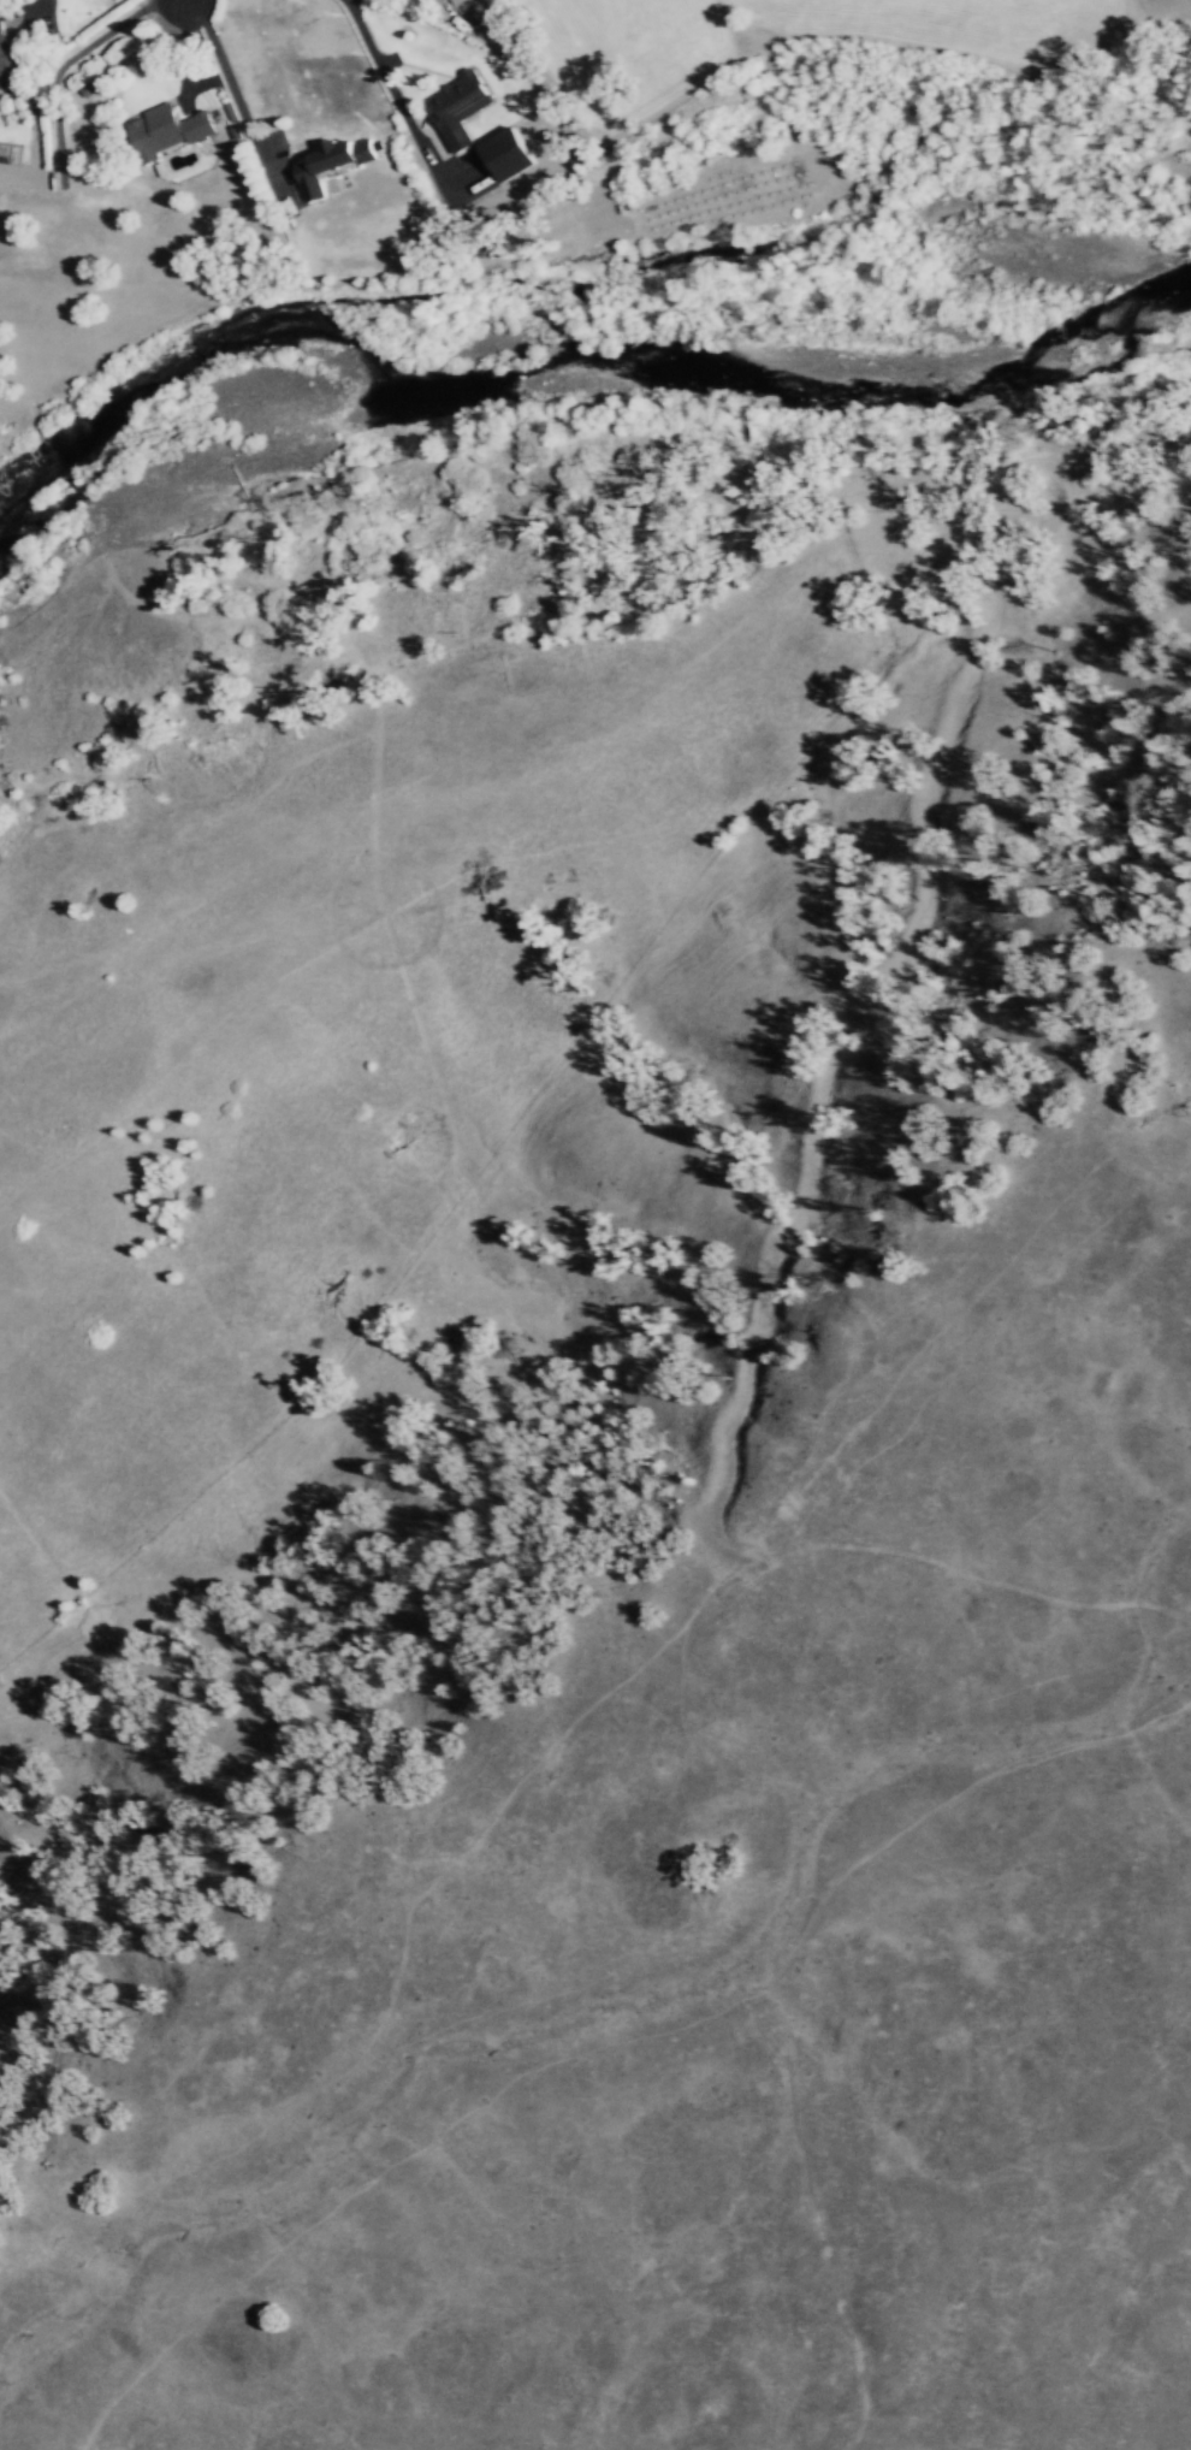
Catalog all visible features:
building: (461, 2)
road: (45, 41)
building: (5, 63)
road: (54, 69)
road: (235, 95)
building: (458, 110)
road: (403, 111)
building: (177, 123)
road: (622, 128)
building: (508, 154)
building: (331, 164)
river: (558, 381)

